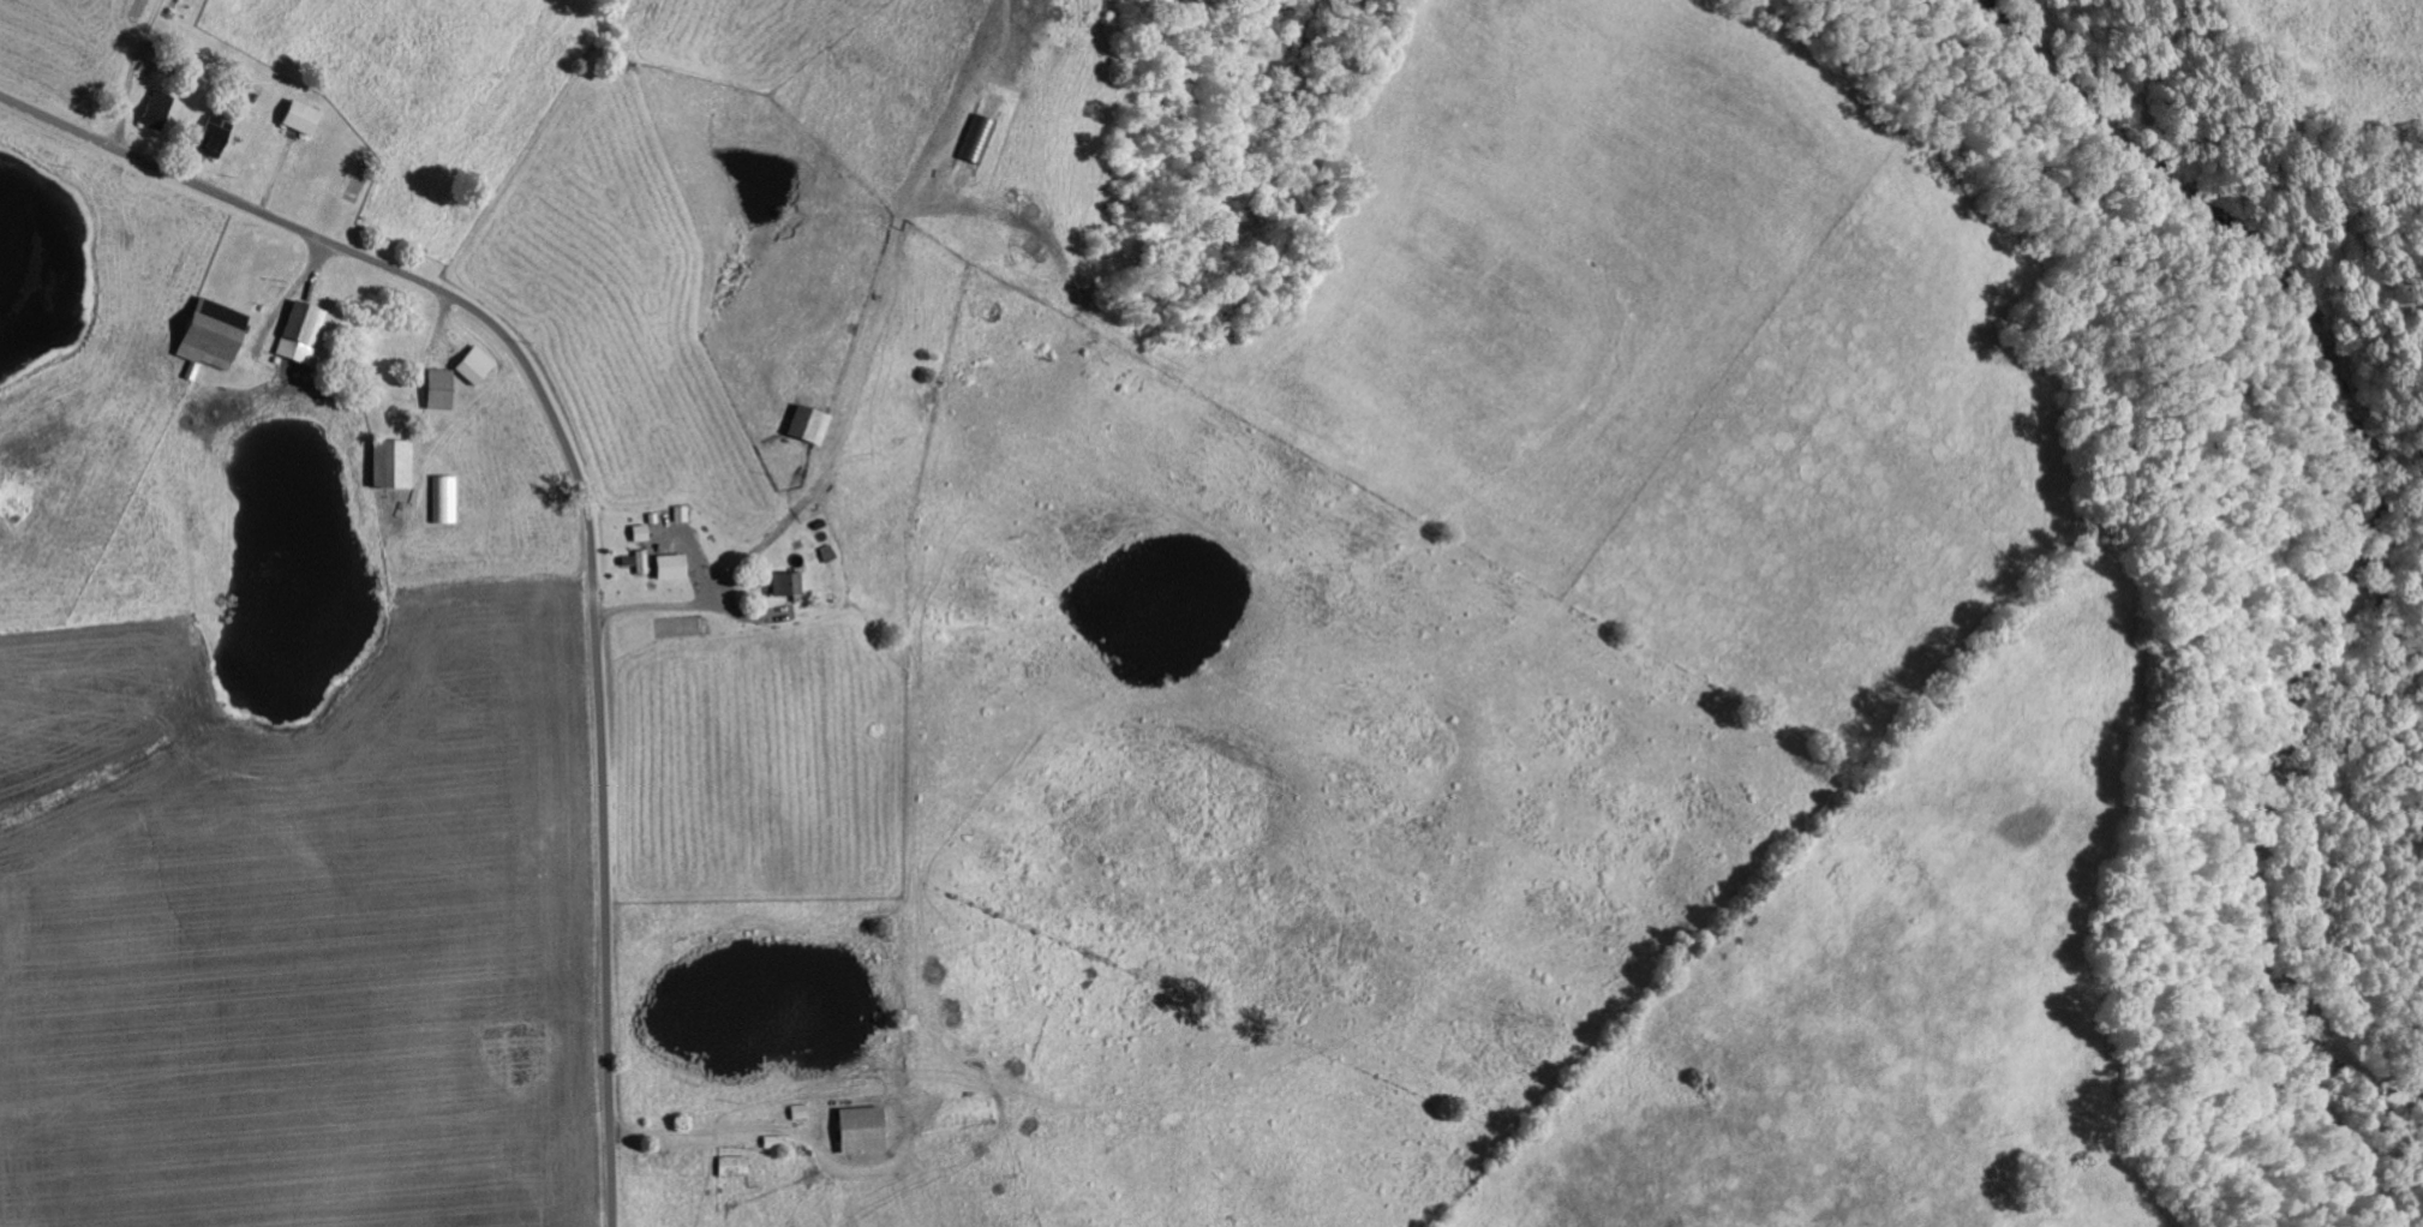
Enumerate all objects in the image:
road: (109, 66)
building: (160, 109)
building: (301, 116)
building: (214, 136)
building: (301, 331)
building: (214, 334)
building: (474, 365)
building: (439, 388)
building: (809, 424)
building: (393, 463)
road: (582, 492)
building: (642, 561)
building: (672, 565)
building: (786, 583)
building: (801, 1111)
building: (863, 1127)
building: (774, 1141)
building: (735, 1165)

